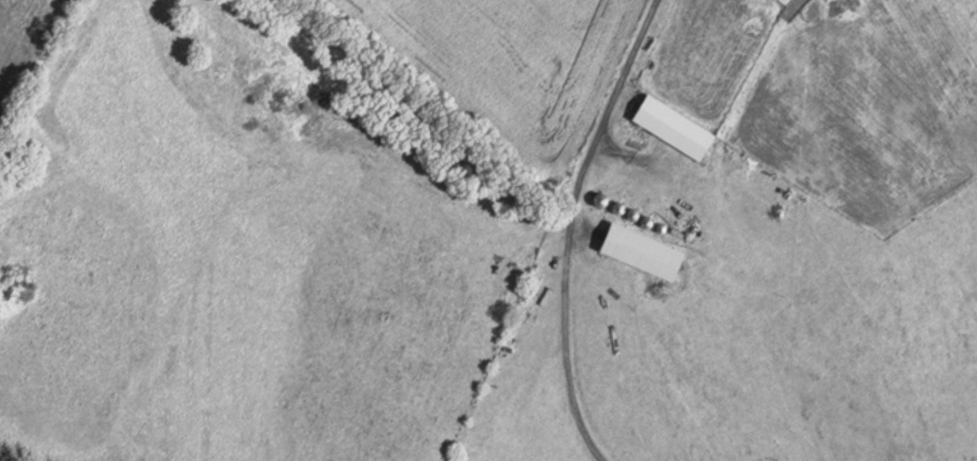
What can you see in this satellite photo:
building: (665, 128)
road: (570, 238)
building: (632, 253)

